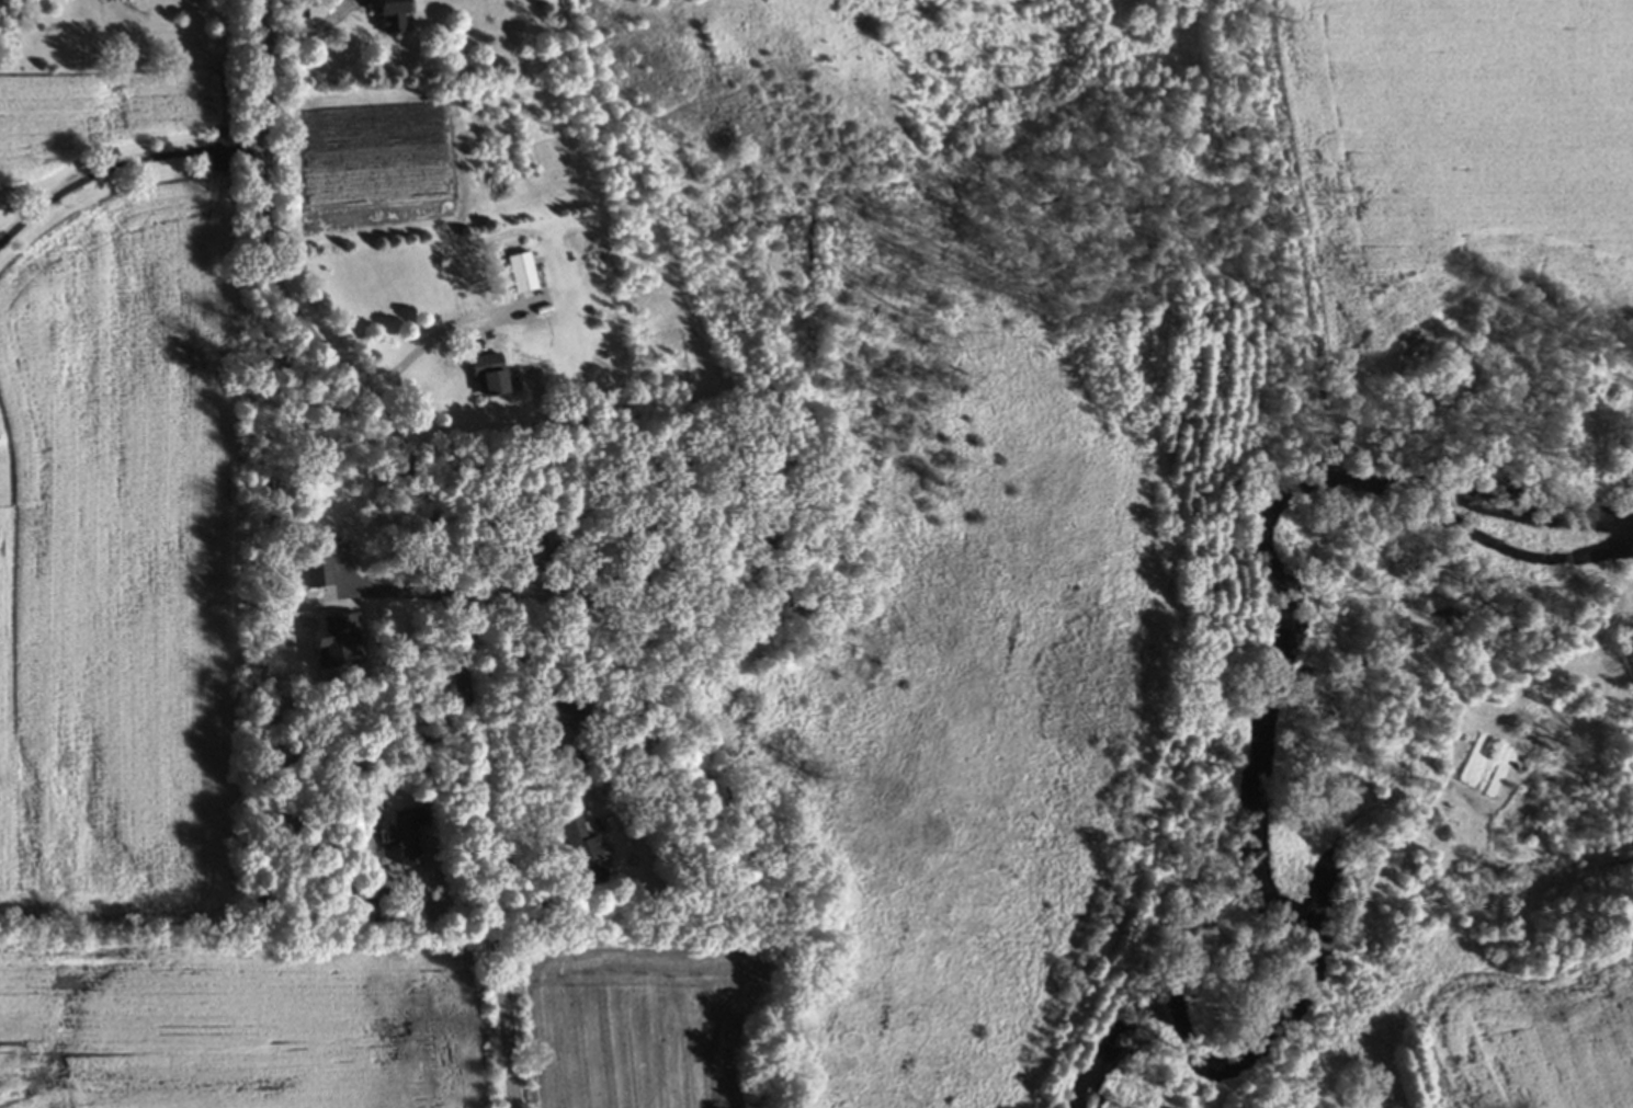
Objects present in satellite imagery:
building: (383, 15)
road: (120, 167)
building: (519, 274)
road: (439, 338)
building: (484, 376)
road: (434, 530)
building: (314, 568)
road: (389, 603)
building: (333, 643)
river: (1270, 735)
building: (401, 837)
building: (580, 850)

